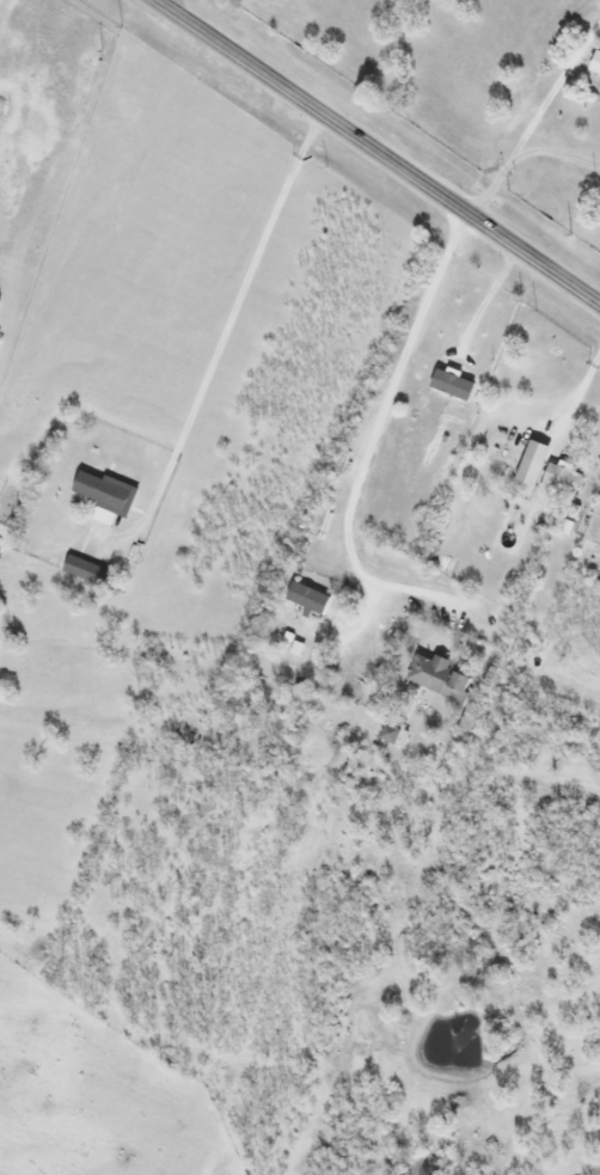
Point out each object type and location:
road: (4, 10)
building: (596, 65)
road: (374, 152)
road: (521, 154)
road: (492, 299)
road: (221, 338)
building: (455, 385)
road: (580, 388)
road: (367, 458)
building: (538, 464)
building: (564, 481)
building: (110, 496)
building: (90, 571)
building: (308, 602)
building: (436, 678)
building: (390, 735)

